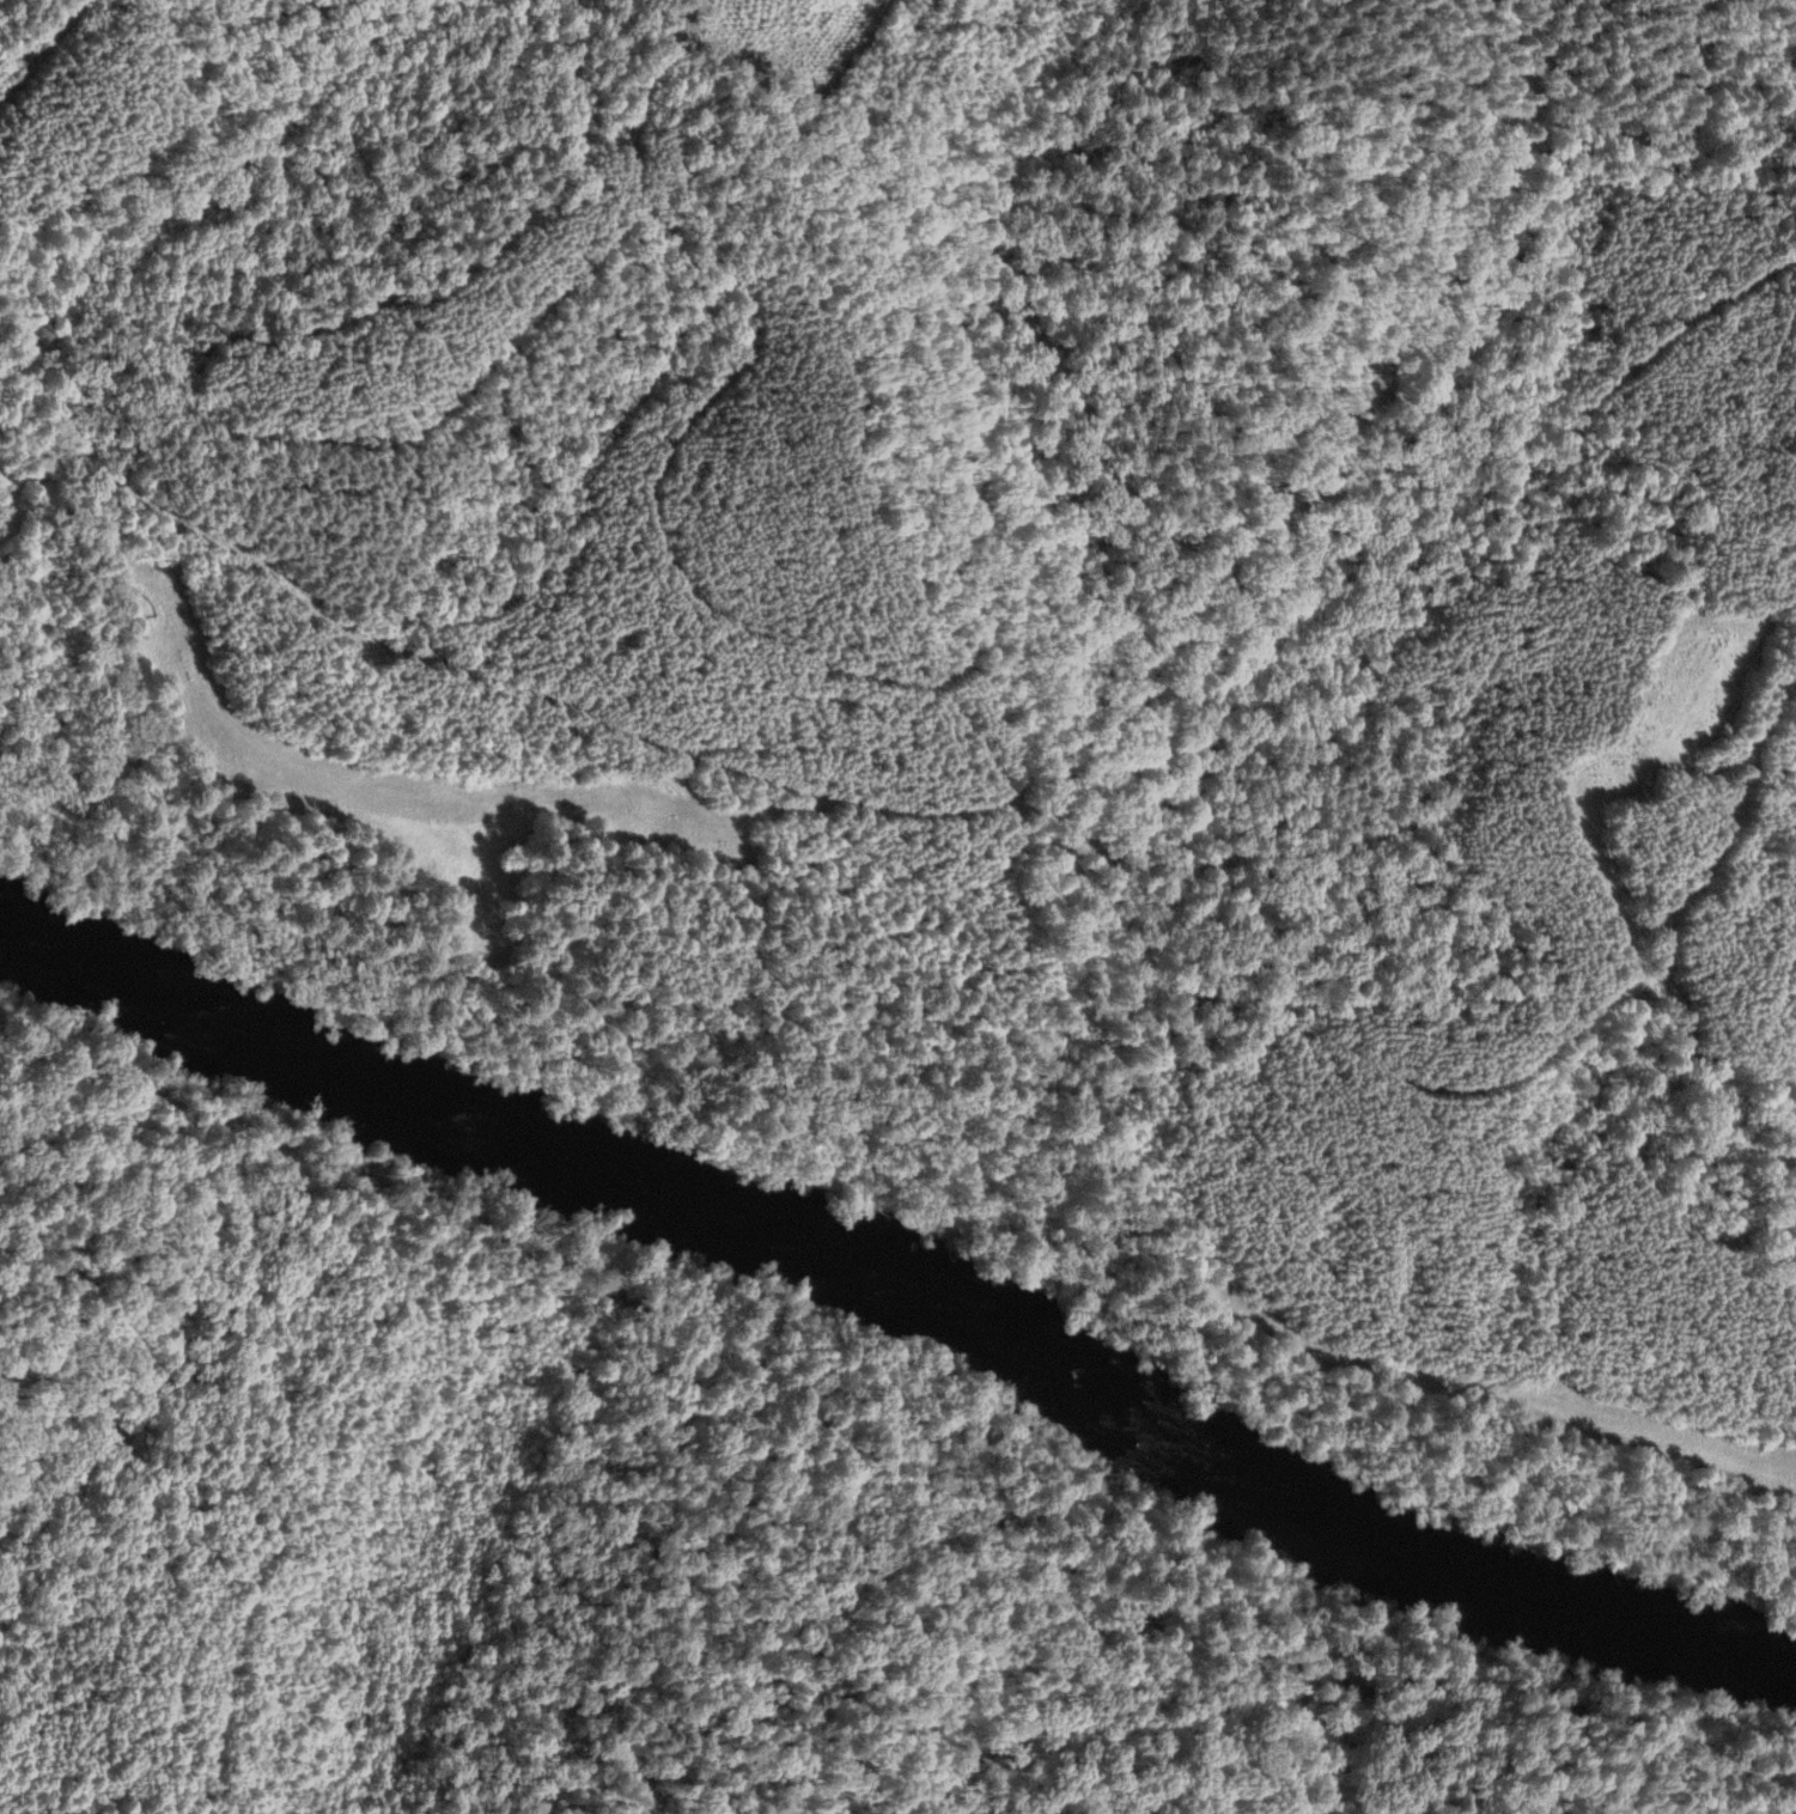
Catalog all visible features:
river: (900, 1284)

